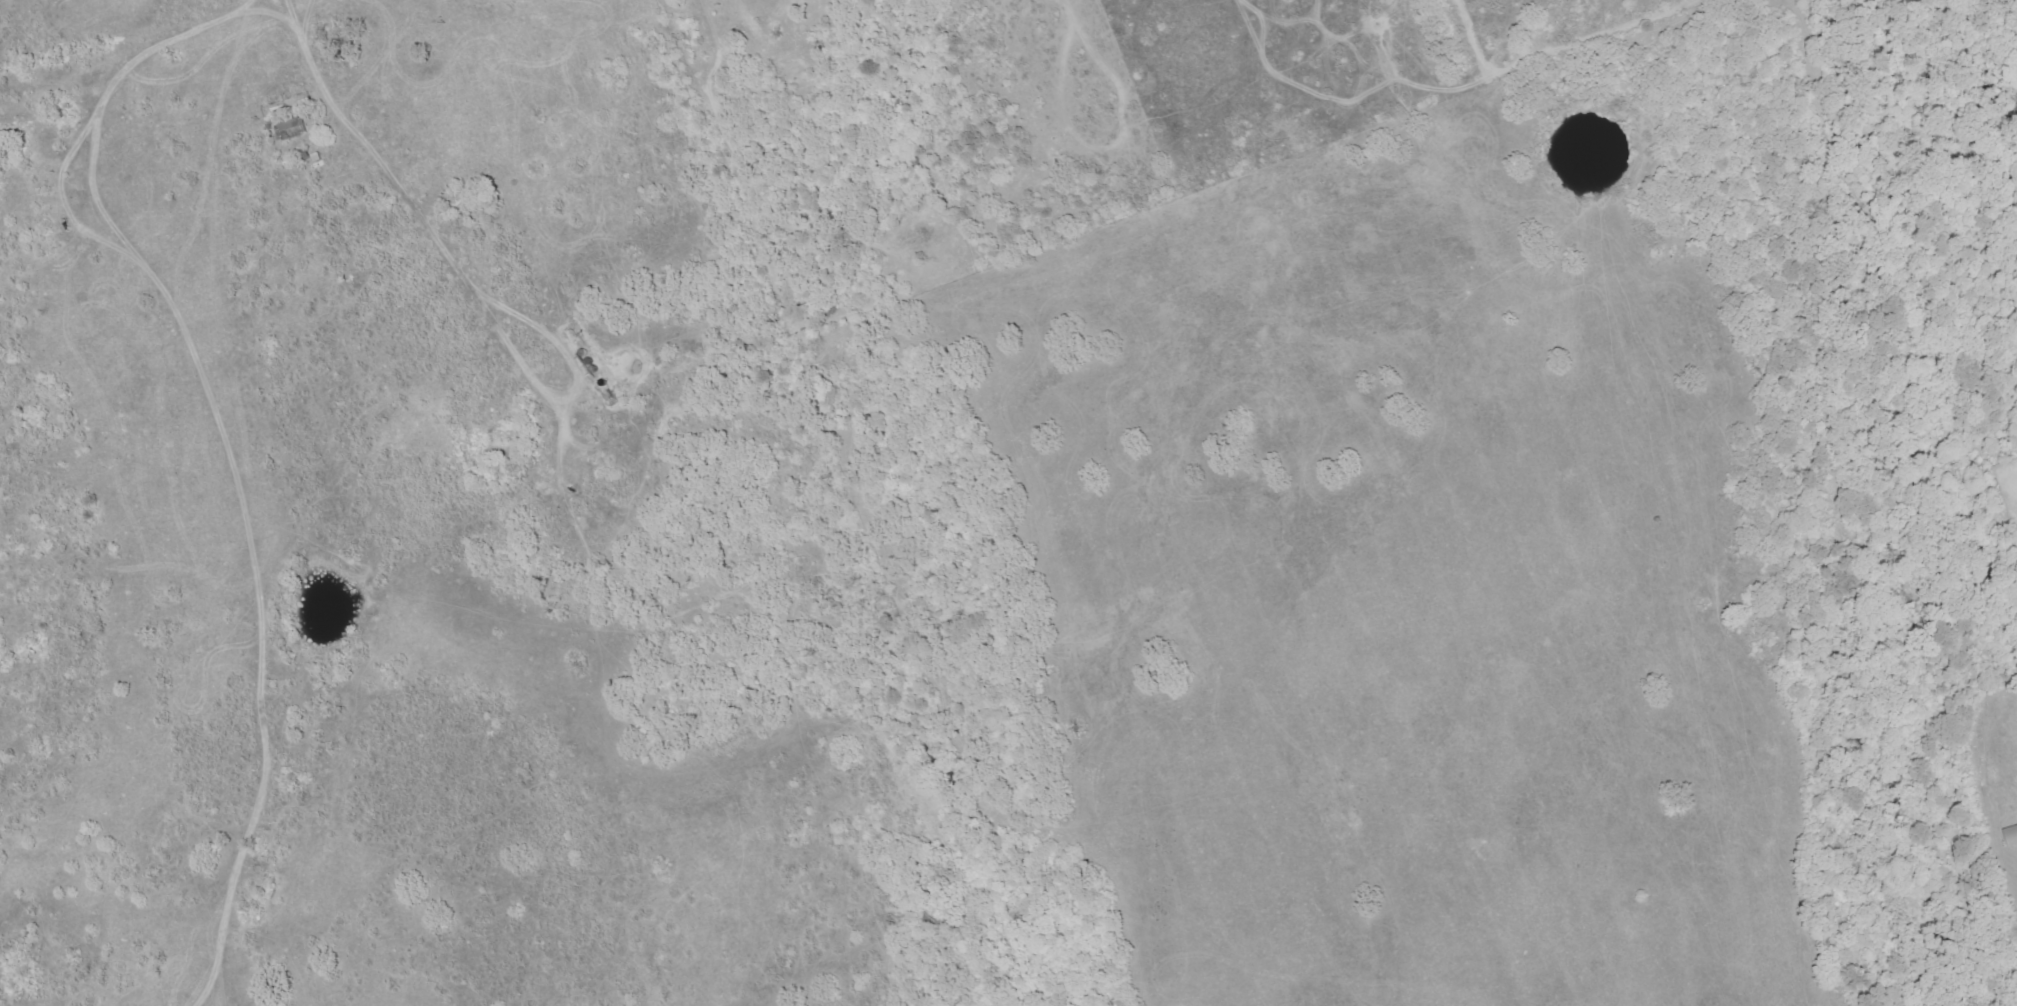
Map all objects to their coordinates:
road: (275, 102)

